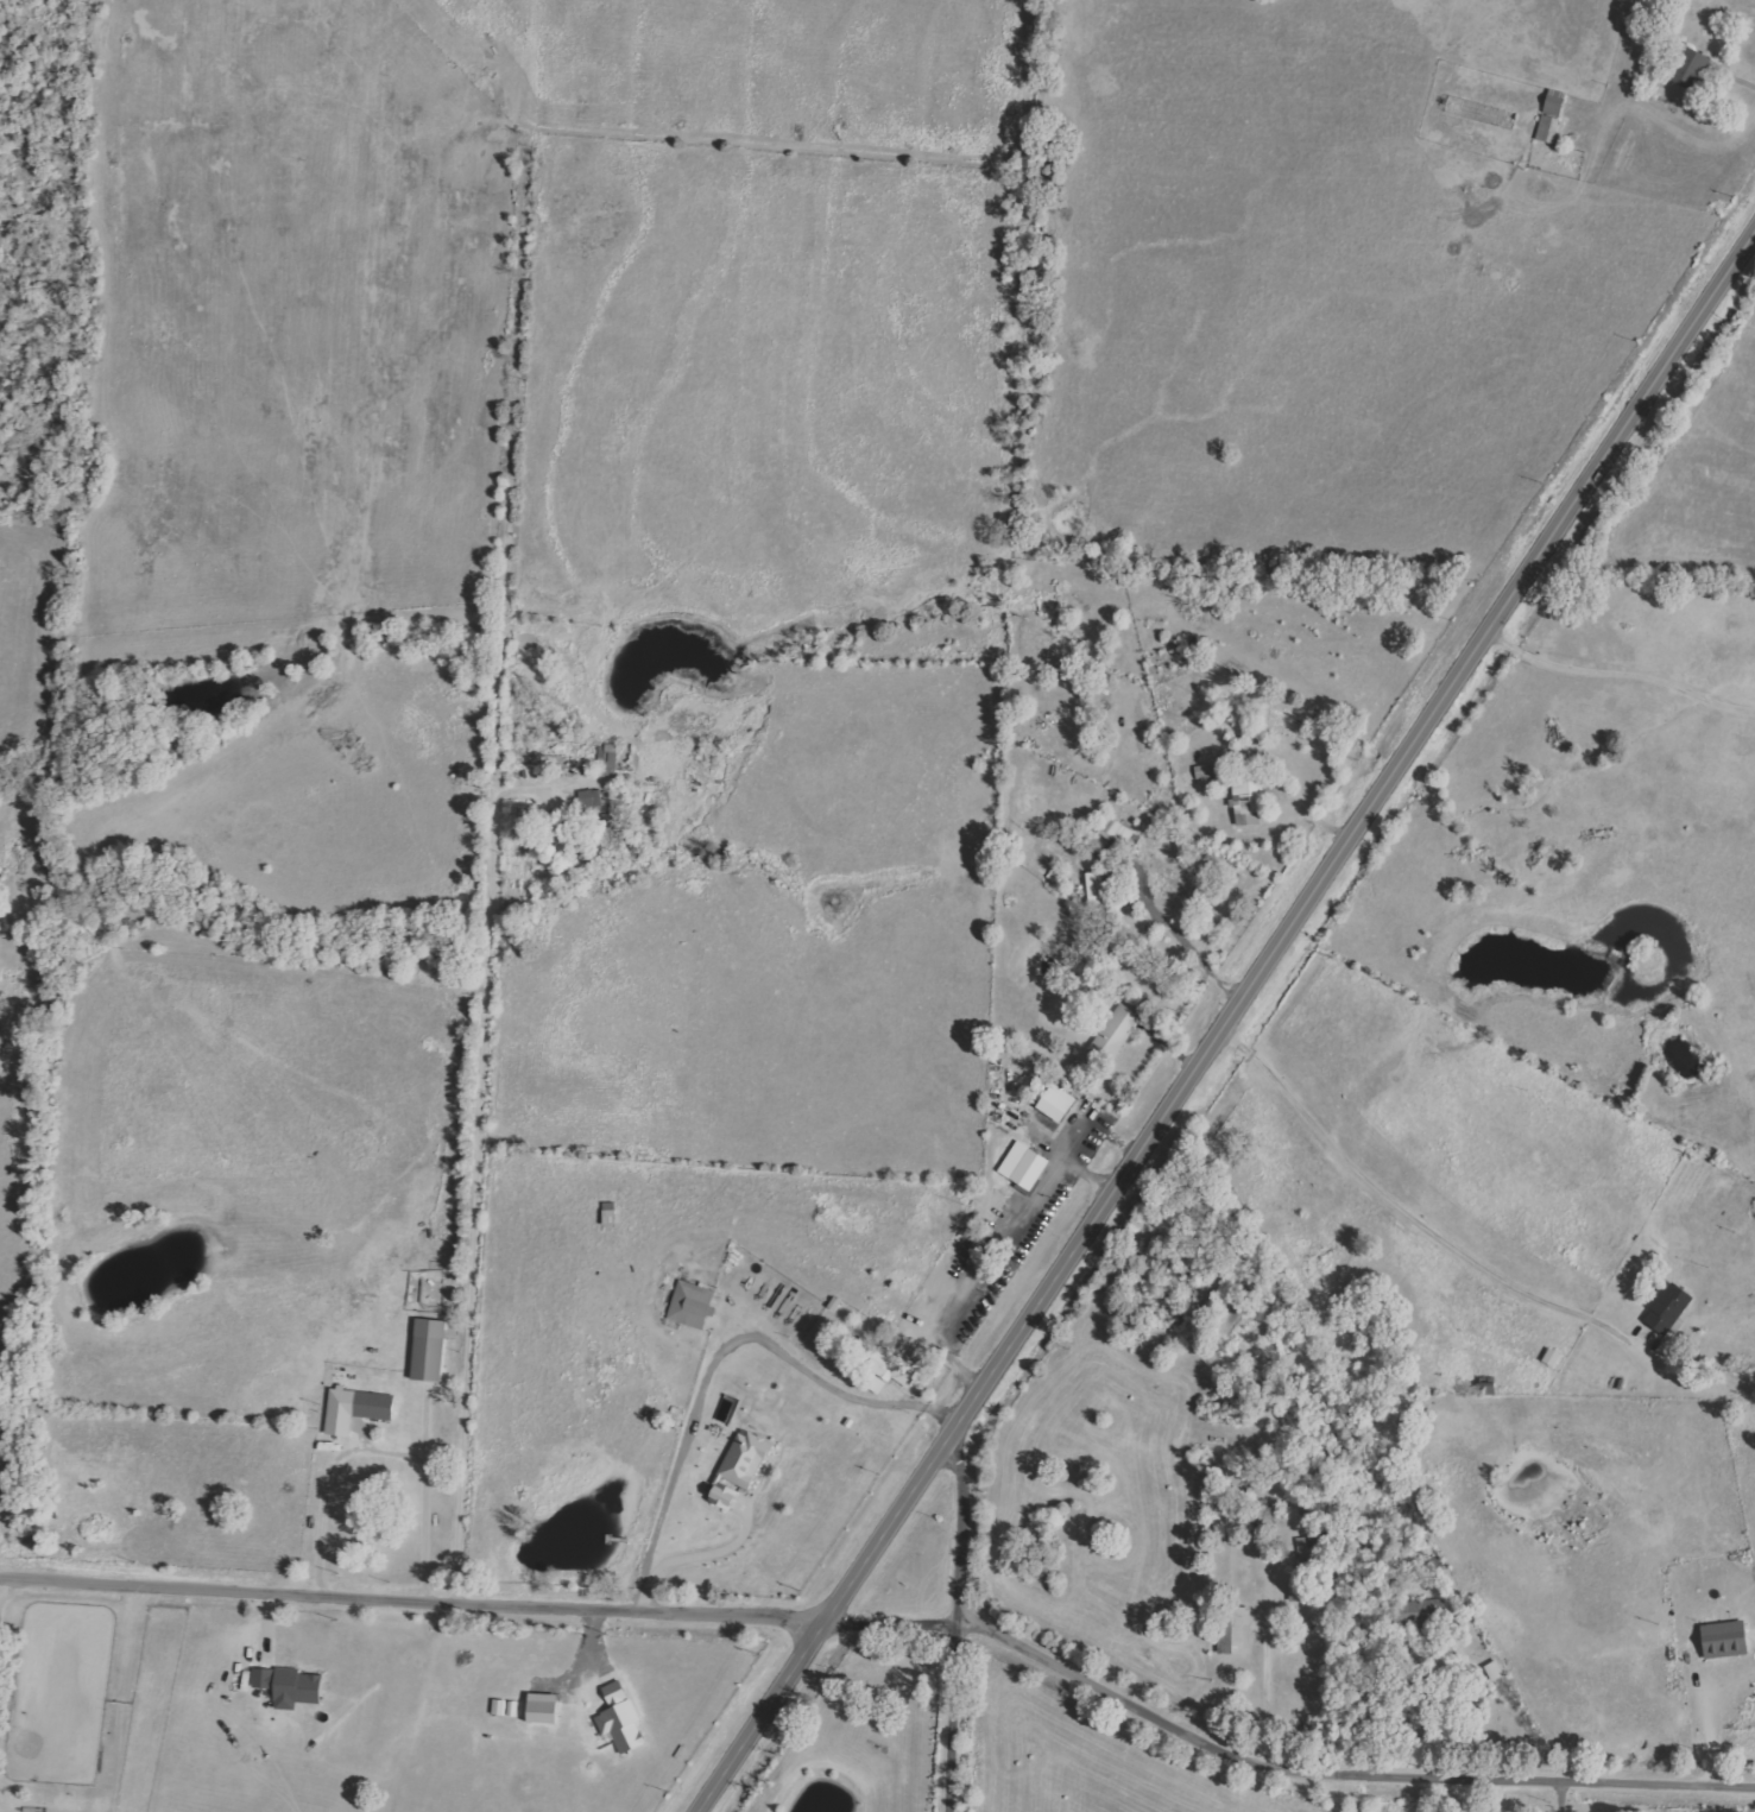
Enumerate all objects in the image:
building: (1688, 68)
road: (1738, 80)
building: (1553, 102)
building: (1546, 130)
road: (1622, 671)
building: (589, 798)
building: (1245, 798)
road: (513, 804)
building: (1117, 834)
building: (1098, 895)
road: (1231, 1024)
building: (1028, 1168)
road: (1397, 1208)
building: (689, 1305)
building: (1667, 1308)
building: (428, 1350)
road: (724, 1356)
building: (890, 1365)
building: (876, 1384)
building: (354, 1409)
road: (387, 1457)
building: (744, 1459)
building: (722, 1496)
road: (703, 1561)
road: (412, 1605)
building: (1409, 1612)
road: (962, 1621)
building: (1233, 1630)
building: (1724, 1640)
road: (1265, 1685)
building: (288, 1686)
building: (542, 1709)
building: (620, 1719)
road: (1716, 1740)
road: (1279, 1755)
road: (1558, 1797)
road: (1694, 1804)

